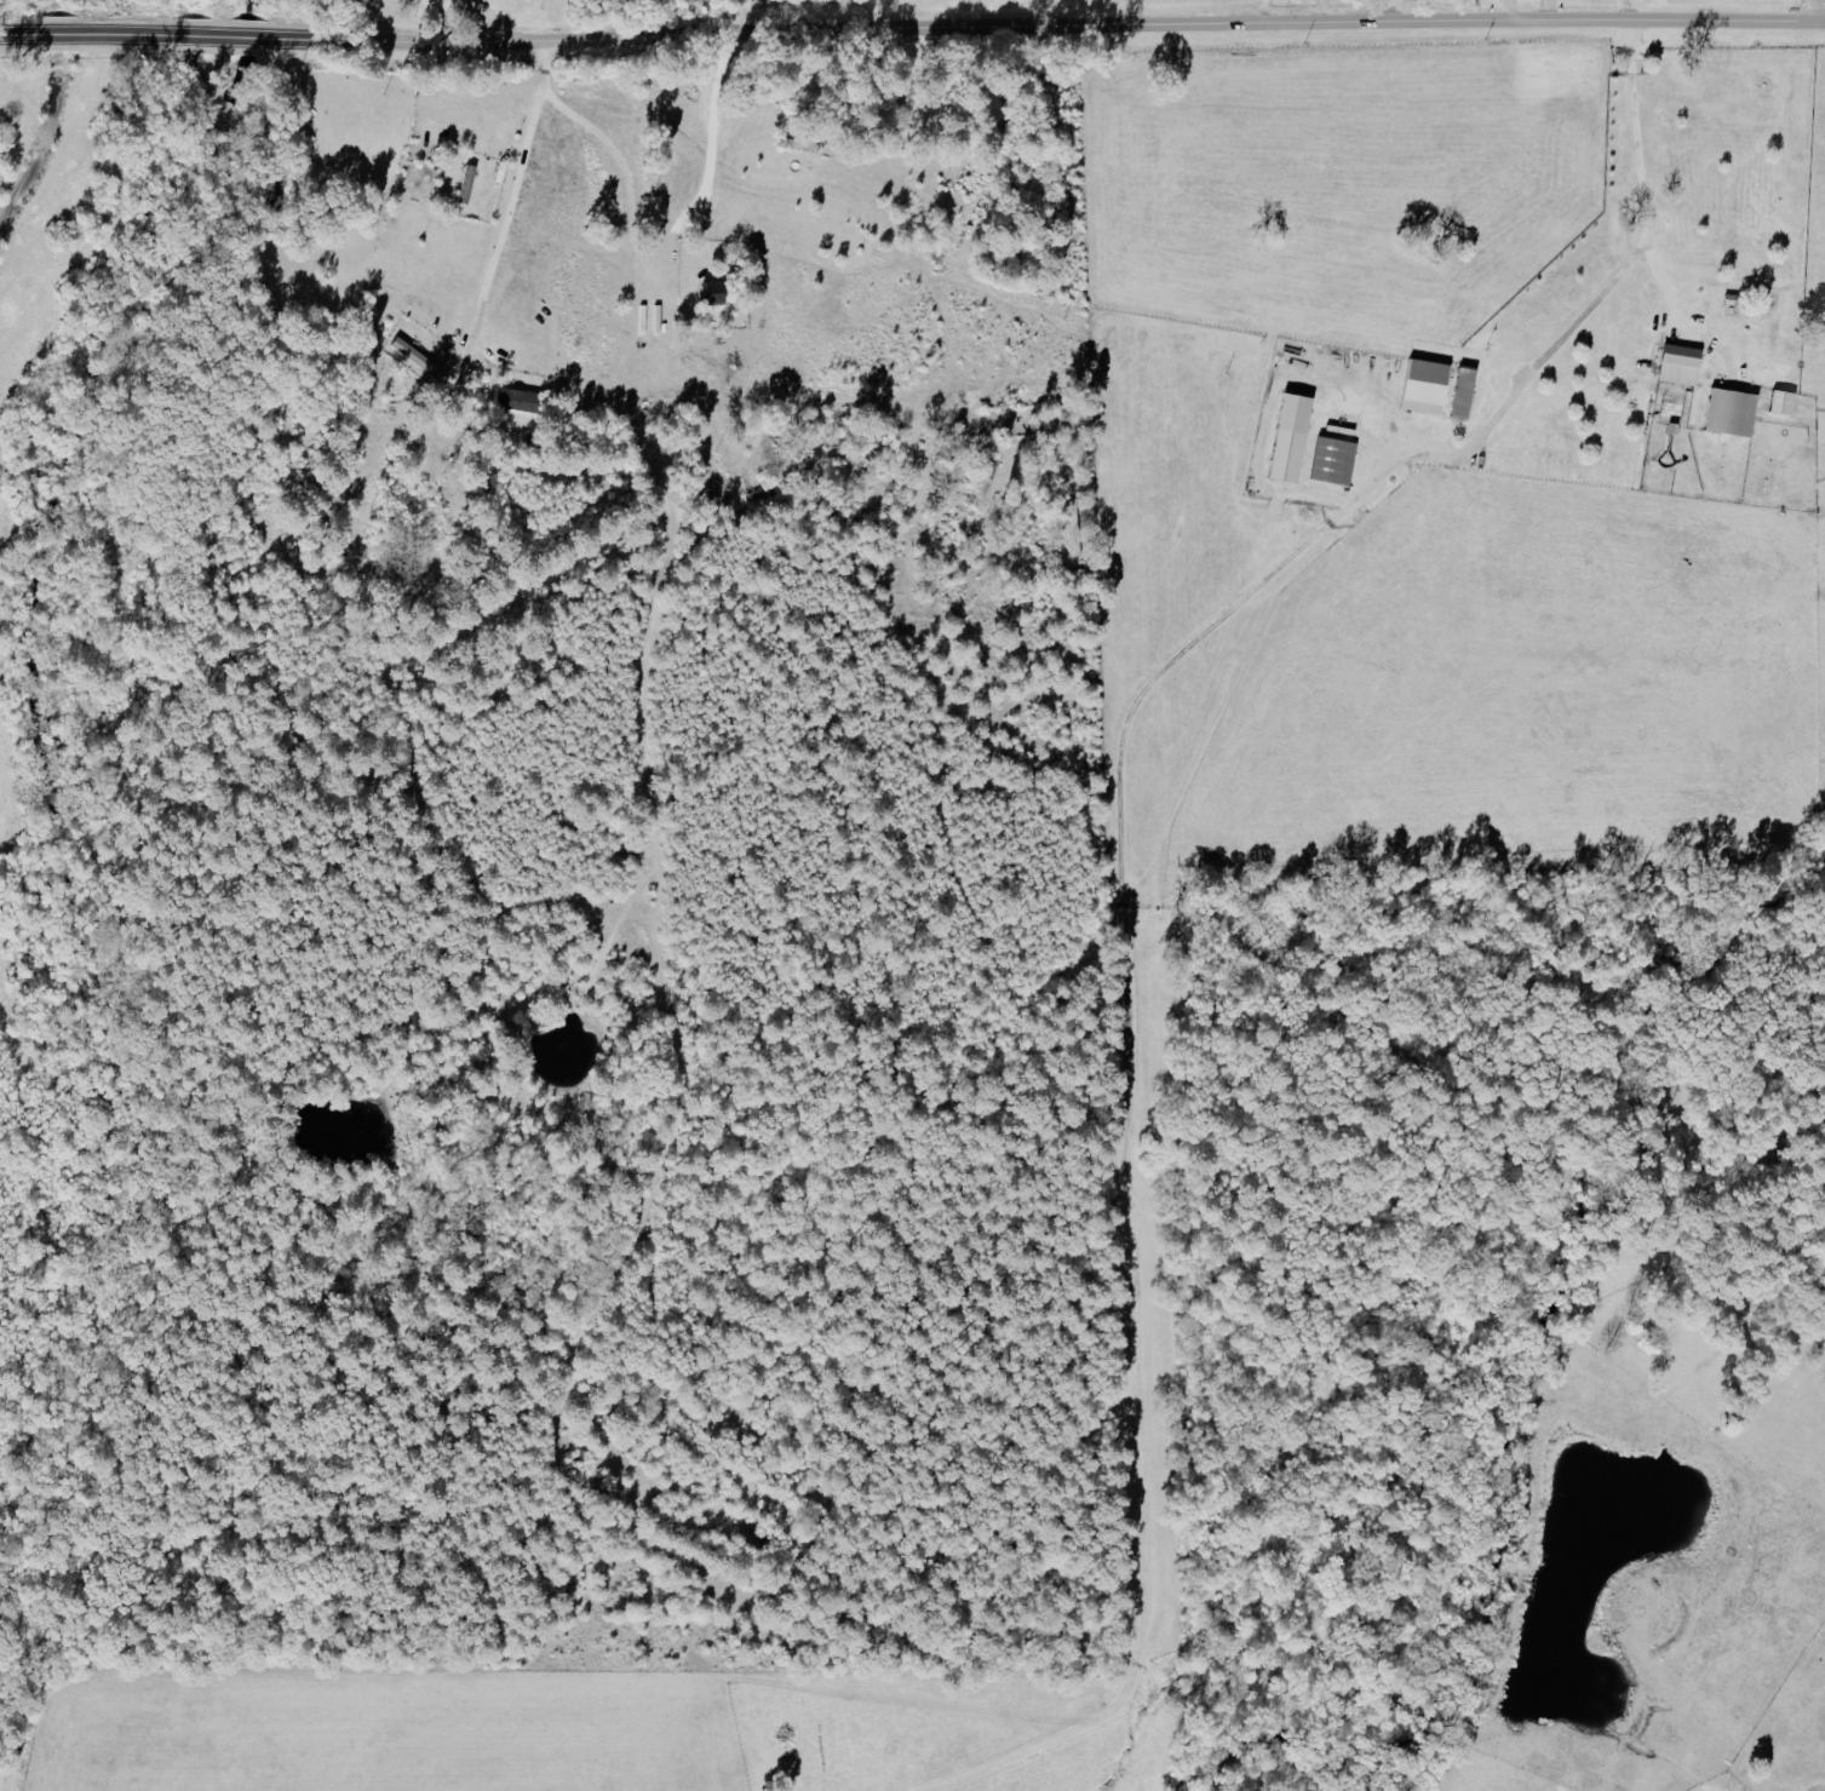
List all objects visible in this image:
road: (1542, 6)
road: (1624, 6)
road: (1390, 7)
road: (1505, 7)
road: (1810, 8)
road: (867, 11)
road: (912, 22)
road: (659, 125)
building: (467, 184)
road: (504, 206)
road: (1632, 253)
building: (714, 293)
road: (1672, 308)
building: (418, 357)
road: (1469, 358)
building: (1682, 366)
building: (1430, 388)
building: (1467, 392)
building: (523, 401)
building: (1785, 402)
building: (1734, 413)
building: (1295, 440)
building: (1336, 461)

